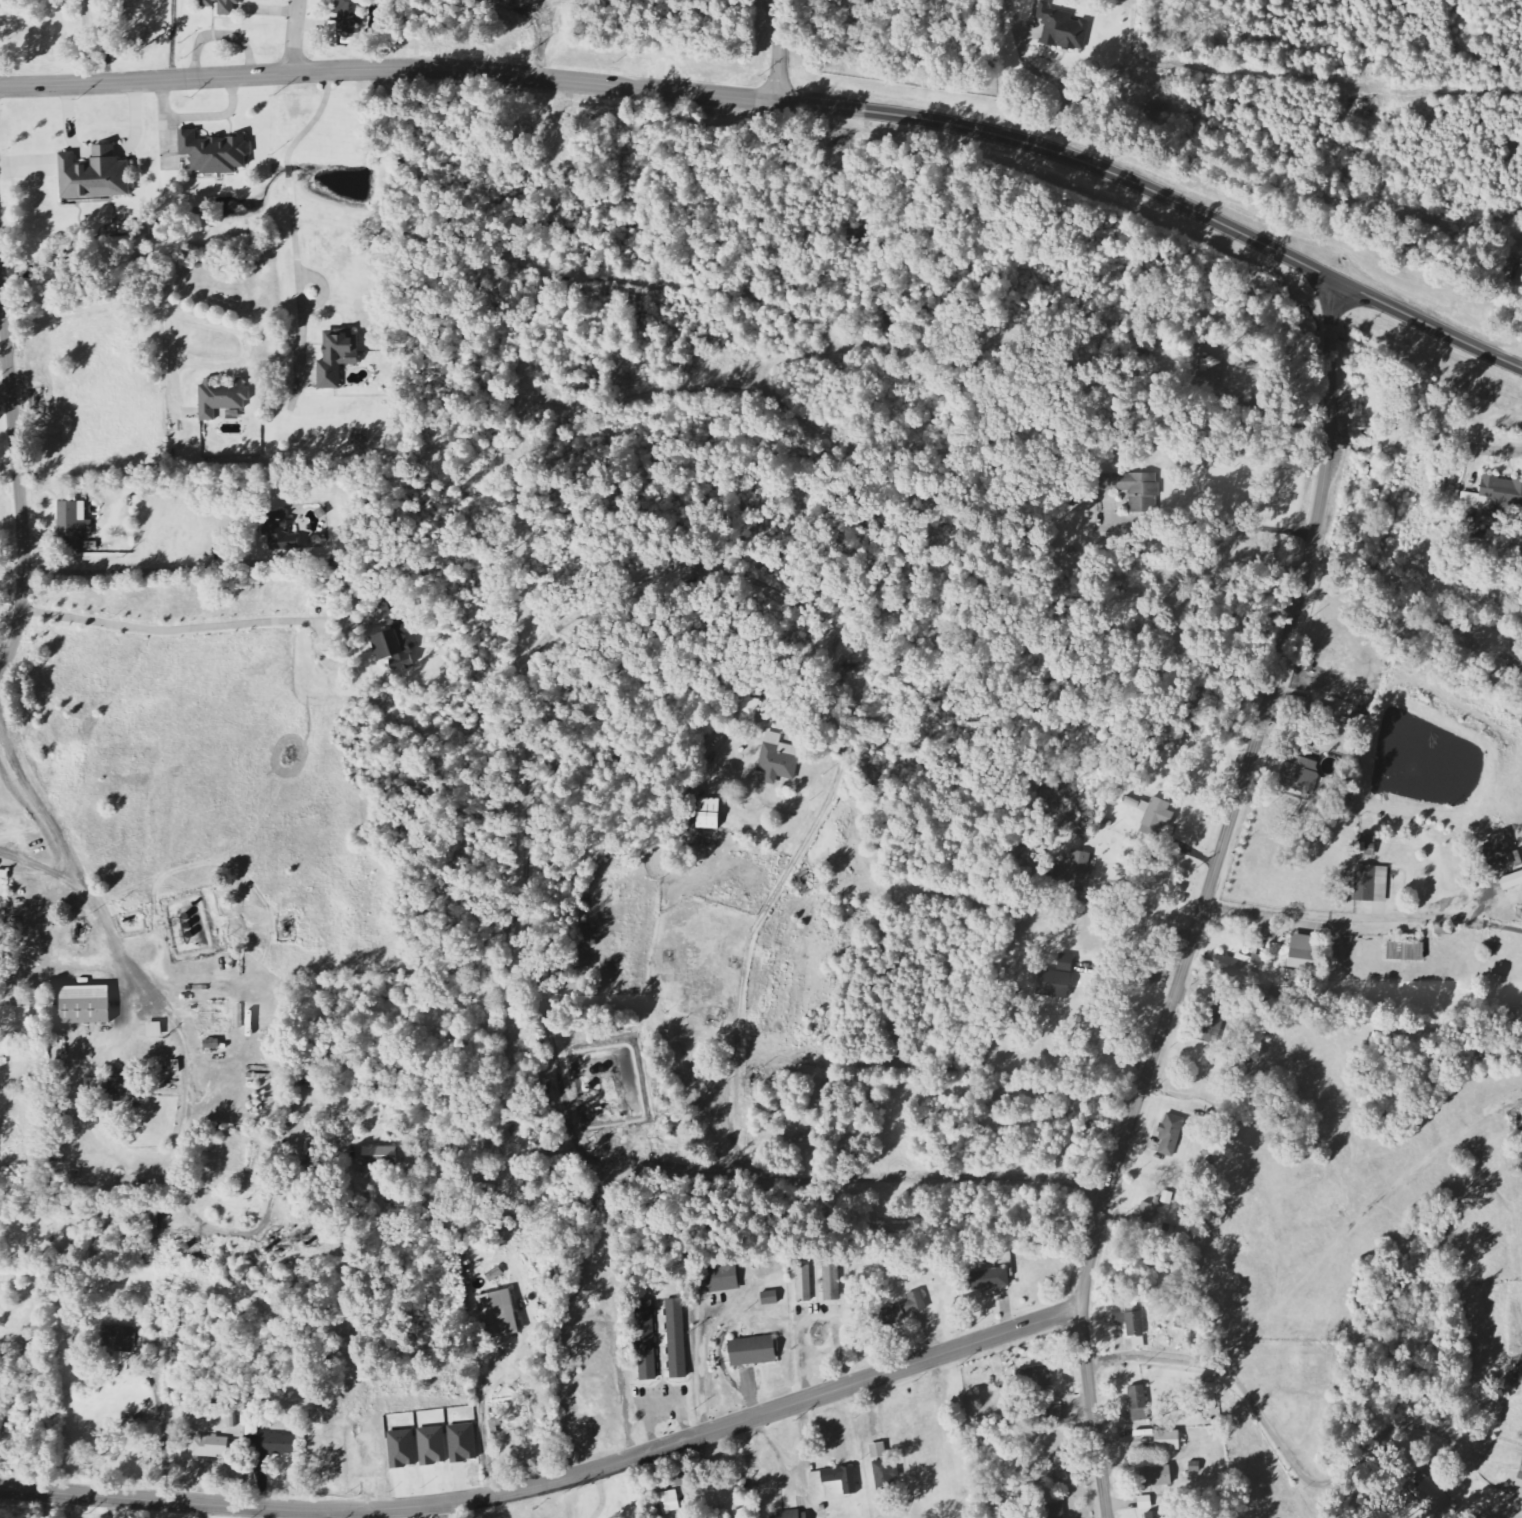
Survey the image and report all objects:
building: (222, 6)
building: (346, 17)
building: (1062, 29)
road: (296, 35)
road: (779, 50)
road: (455, 69)
road: (1056, 81)
road: (26, 84)
road: (199, 115)
building: (214, 152)
building: (95, 175)
road: (1198, 211)
building: (337, 357)
road: (6, 393)
building: (223, 396)
road: (18, 478)
building: (1135, 489)
building: (1494, 493)
building: (73, 524)
building: (280, 533)
building: (393, 638)
building: (750, 711)
building: (779, 760)
building: (1295, 772)
road: (1237, 796)
building: (709, 814)
building: (1498, 855)
building: (1074, 871)
building: (1512, 882)
building: (1372, 885)
road: (1147, 907)
building: (1306, 952)
building: (1407, 952)
building: (1067, 963)
building: (1055, 984)
building: (86, 1005)
building: (117, 1085)
building: (1171, 1134)
building: (376, 1156)
building: (1148, 1211)
building: (723, 1279)
building: (991, 1279)
building: (805, 1283)
building: (832, 1283)
building: (771, 1298)
building: (905, 1309)
building: (499, 1315)
building: (1131, 1320)
building: (119, 1337)
building: (677, 1339)
building: (647, 1341)
building: (1139, 1342)
building: (754, 1351)
building: (1040, 1378)
building: (1139, 1404)
road: (1091, 1412)
building: (1057, 1414)
building: (1169, 1441)
building: (463, 1443)
building: (278, 1444)
building: (211, 1446)
building: (433, 1446)
building: (403, 1450)
building: (884, 1468)
building: (1053, 1472)
building: (1156, 1477)
building: (838, 1479)
road: (553, 1482)
building: (1432, 1497)
building: (670, 1503)
building: (1146, 1503)
road: (443, 1511)
building: (1055, 1511)
building: (792, 1515)
building: (1156, 1515)

